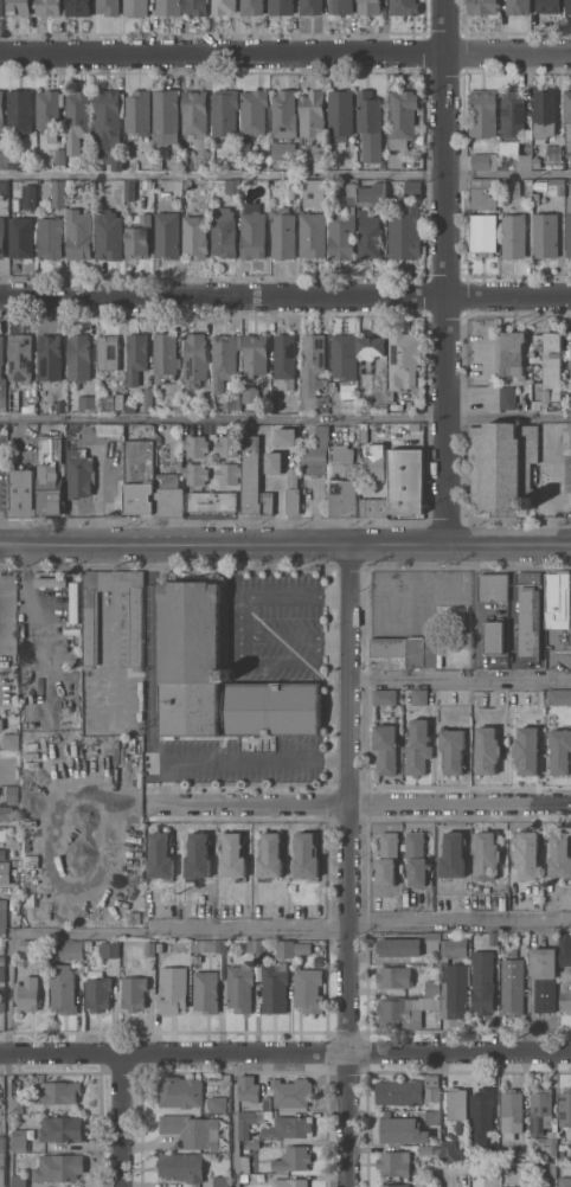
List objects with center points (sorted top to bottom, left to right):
building: (224, 6)
building: (251, 6)
building: (340, 6)
building: (548, 6)
building: (1, 7)
building: (18, 7)
building: (49, 7)
building: (78, 7)
building: (108, 7)
building: (136, 7)
building: (168, 7)
building: (197, 7)
building: (282, 7)
building: (310, 7)
building: (368, 7)
building: (404, 7)
building: (482, 7)
building: (520, 7)
building: (567, 7)
road: (284, 50)
building: (20, 110)
building: (50, 111)
building: (254, 111)
building: (1, 113)
building: (78, 113)
building: (139, 113)
building: (194, 113)
building: (224, 113)
building: (483, 113)
building: (545, 113)
building: (284, 114)
building: (312, 114)
building: (340, 115)
building: (513, 115)
building: (166, 116)
building: (403, 117)
building: (569, 118)
building: (370, 126)
building: (109, 129)
building: (509, 147)
building: (245, 150)
building: (319, 152)
building: (553, 154)
building: (56, 156)
building: (283, 158)
building: (4, 160)
building: (13, 160)
building: (394, 160)
building: (485, 161)
building: (526, 162)
building: (158, 165)
road: (285, 174)
building: (187, 185)
building: (235, 185)
building: (4, 187)
building: (511, 187)
building: (557, 187)
building: (411, 188)
building: (130, 191)
building: (294, 191)
building: (314, 192)
building: (58, 193)
building: (483, 193)
building: (372, 194)
building: (30, 197)
building: (535, 199)
building: (207, 207)
building: (344, 226)
building: (569, 227)
building: (78, 233)
building: (224, 233)
building: (283, 233)
building: (404, 233)
building: (482, 233)
building: (108, 235)
building: (167, 235)
building: (252, 235)
building: (313, 235)
building: (368, 235)
building: (545, 235)
building: (137, 236)
building: (514, 236)
building: (2, 237)
building: (50, 237)
building: (195, 237)
building: (21, 238)
road: (443, 271)
road: (507, 295)
road: (222, 296)
building: (371, 347)
building: (108, 352)
building: (509, 353)
building: (255, 355)
building: (20, 357)
building: (50, 357)
building: (136, 357)
building: (166, 357)
building: (344, 357)
building: (78, 358)
building: (284, 358)
building: (567, 358)
building: (194, 359)
building: (404, 359)
building: (225, 361)
building: (548, 366)
building: (313, 371)
building: (2, 378)
building: (333, 386)
building: (349, 391)
building: (249, 392)
building: (391, 394)
building: (507, 398)
building: (148, 399)
building: (86, 402)
building: (171, 402)
building: (235, 402)
building: (111, 403)
building: (569, 403)
building: (62, 406)
building: (349, 406)
building: (130, 410)
road: (284, 417)
building: (110, 430)
building: (285, 437)
building: (566, 441)
building: (195, 445)
building: (227, 447)
building: (316, 453)
building: (342, 458)
building: (274, 462)
building: (374, 463)
building: (502, 466)
building: (79, 473)
building: (230, 473)
building: (195, 474)
road: (562, 474)
building: (50, 476)
building: (140, 476)
building: (254, 480)
road: (553, 480)
building: (406, 481)
building: (293, 492)
building: (23, 494)
building: (168, 496)
building: (344, 499)
building: (212, 502)
building: (373, 502)
road: (285, 544)
building: (33, 586)
building: (493, 586)
road: (244, 599)
building: (558, 599)
road: (476, 602)
building: (530, 614)
building: (90, 628)
road: (333, 635)
building: (493, 635)
building: (406, 649)
building: (191, 659)
road: (280, 662)
road: (460, 679)
building: (385, 697)
building: (419, 697)
building: (559, 697)
building: (271, 708)
building: (1, 724)
building: (11, 742)
road: (154, 745)
building: (418, 748)
building: (386, 749)
building: (453, 750)
building: (487, 750)
building: (527, 750)
building: (560, 750)
road: (165, 782)
building: (12, 794)
road: (363, 803)
building: (6, 813)
building: (2, 853)
building: (560, 854)
building: (198, 855)
building: (232, 855)
building: (270, 855)
building: (306, 855)
building: (453, 855)
building: (487, 855)
building: (160, 856)
building: (526, 856)
building: (387, 858)
building: (416, 858)
road: (346, 865)
building: (4, 886)
building: (2, 915)
road: (290, 931)
building: (493, 938)
building: (432, 941)
building: (27, 945)
building: (88, 945)
building: (213, 945)
building: (255, 945)
building: (159, 947)
building: (398, 947)
building: (564, 947)
building: (149, 948)
building: (303, 948)
building: (109, 949)
building: (284, 949)
building: (68, 950)
building: (197, 958)
building: (2, 961)
building: (434, 973)
building: (2, 974)
building: (456, 975)
building: (394, 976)
building: (544, 977)
building: (482, 982)
building: (239, 987)
building: (275, 987)
building: (512, 987)
building: (63, 988)
building: (432, 988)
building: (172, 989)
building: (308, 990)
building: (206, 992)
building: (27, 993)
building: (98, 993)
building: (134, 993)
building: (565, 997)
building: (2, 1005)
building: (404, 1009)
road: (284, 1051)
road: (6, 1060)
building: (249, 1087)
building: (60, 1091)
building: (180, 1091)
building: (409, 1091)
building: (291, 1092)
building: (267, 1103)
building: (218, 1104)
building: (512, 1104)
building: (18, 1105)
building: (457, 1108)
building: (482, 1108)
building: (565, 1108)
building: (539, 1109)
building: (432, 1117)
road: (235, 1118)
road: (121, 1119)
building: (245, 1123)
building: (289, 1127)
building: (60, 1129)
building: (402, 1129)
building: (192, 1130)
building: (20, 1140)
building: (2, 1143)
building: (490, 1143)
building: (570, 1143)
building: (252, 1144)
building: (552, 1144)
building: (428, 1149)
building: (449, 1150)
building: (462, 1153)
building: (293, 1159)
building: (244, 1163)
building: (394, 1163)
building: (181, 1166)
building: (59, 1167)
building: (2, 1169)
building: (548, 1169)
building: (565, 1176)
building: (243, 1178)
building: (20, 1181)
building: (220, 1181)
building: (289, 1182)
building: (394, 1185)
building: (521, 1186)

